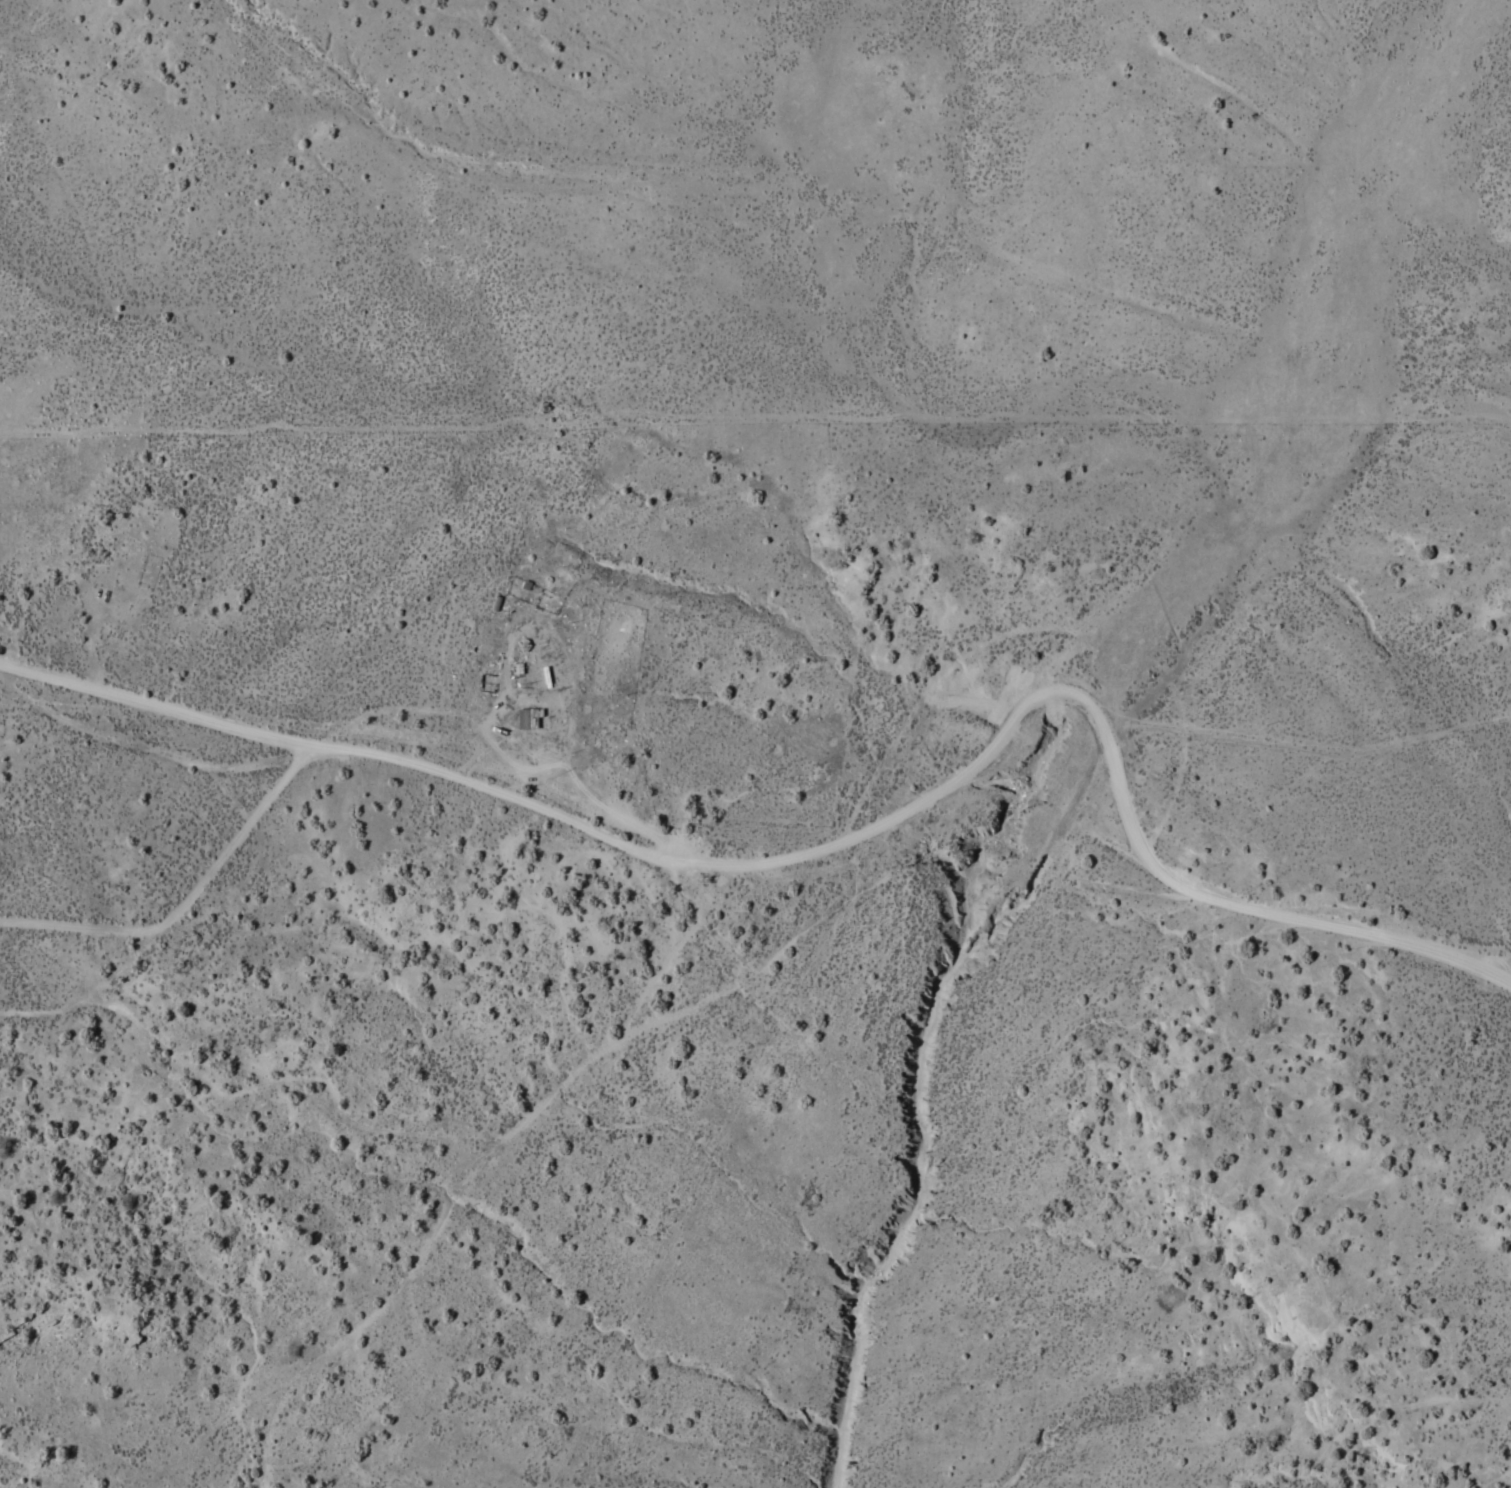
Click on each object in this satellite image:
building: (530, 719)
road: (1060, 859)

